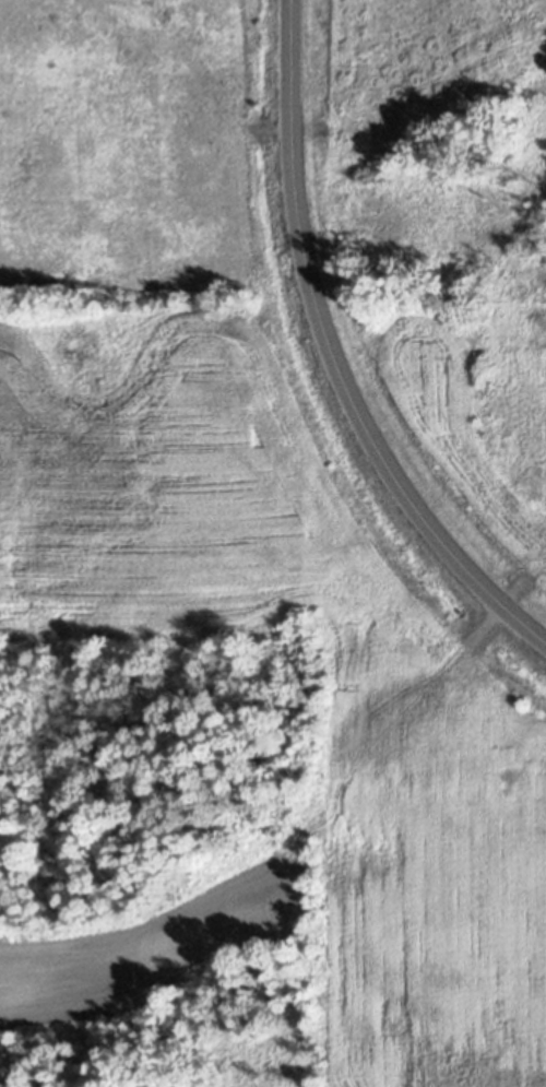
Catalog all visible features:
road: (333, 355)

